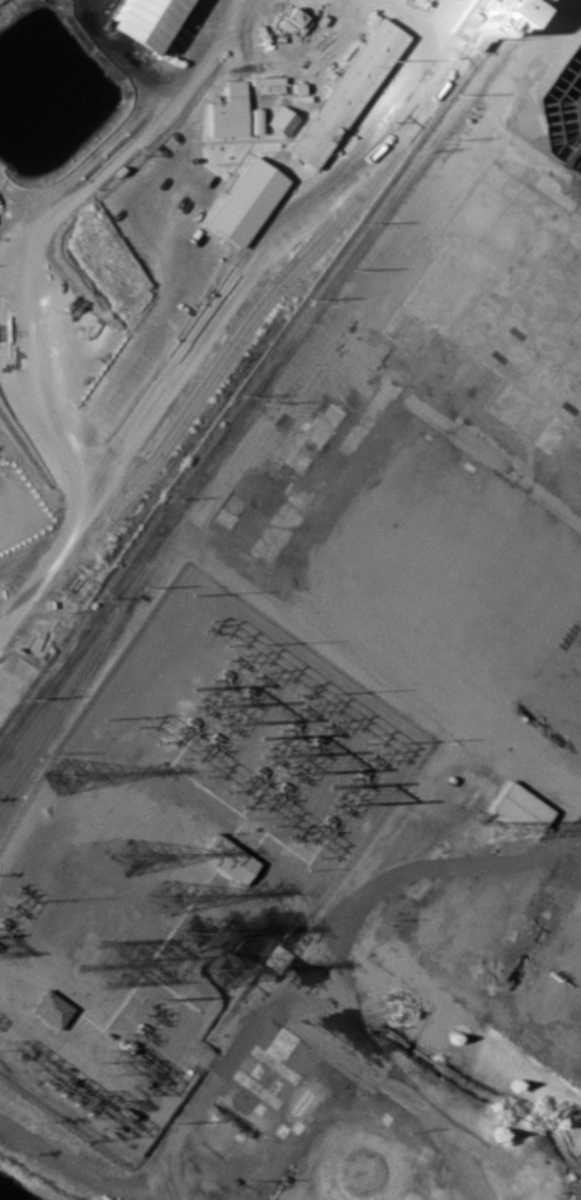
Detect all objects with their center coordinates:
building: (143, 21)
building: (479, 22)
building: (347, 92)
building: (229, 111)
building: (255, 120)
building: (282, 120)
building: (245, 201)
road: (229, 316)
railway: (229, 337)
railway: (242, 339)
railway: (268, 373)
road: (268, 549)
road: (46, 564)
power tower: (61, 775)
power tower: (130, 857)
power substation: (180, 857)
road: (447, 866)
power tower: (168, 894)
power tower: (200, 931)
power tower: (223, 969)
road: (290, 976)
building: (51, 1009)
road: (390, 1079)
power tower: (84, 1101)
road: (199, 1106)

